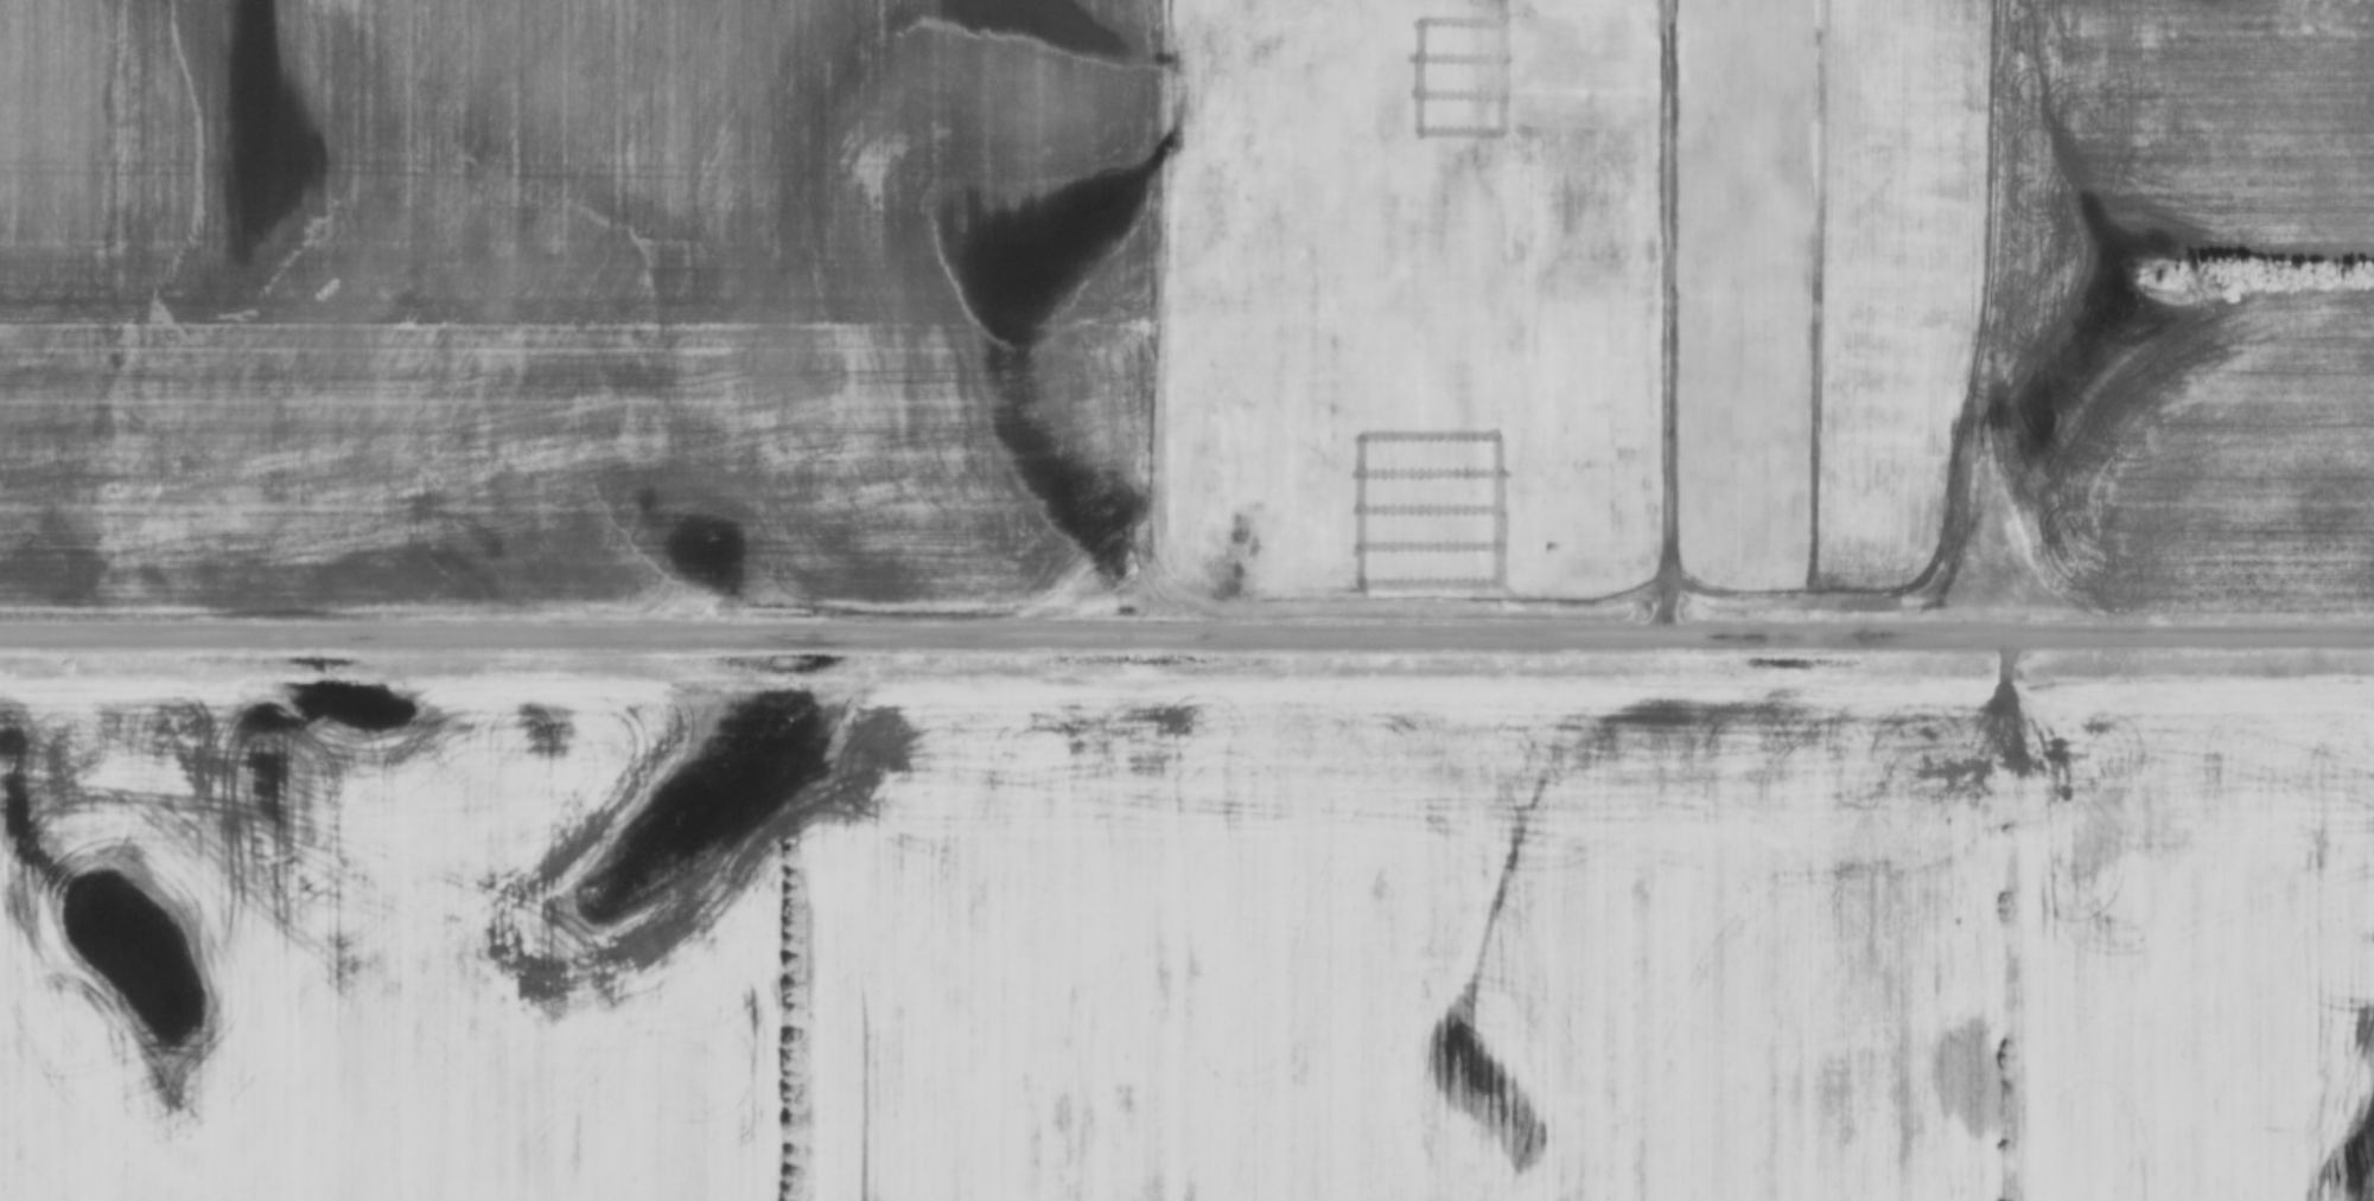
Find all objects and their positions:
road: (1669, 299)
building: (1287, 373)
road: (758, 593)
road: (1186, 631)

